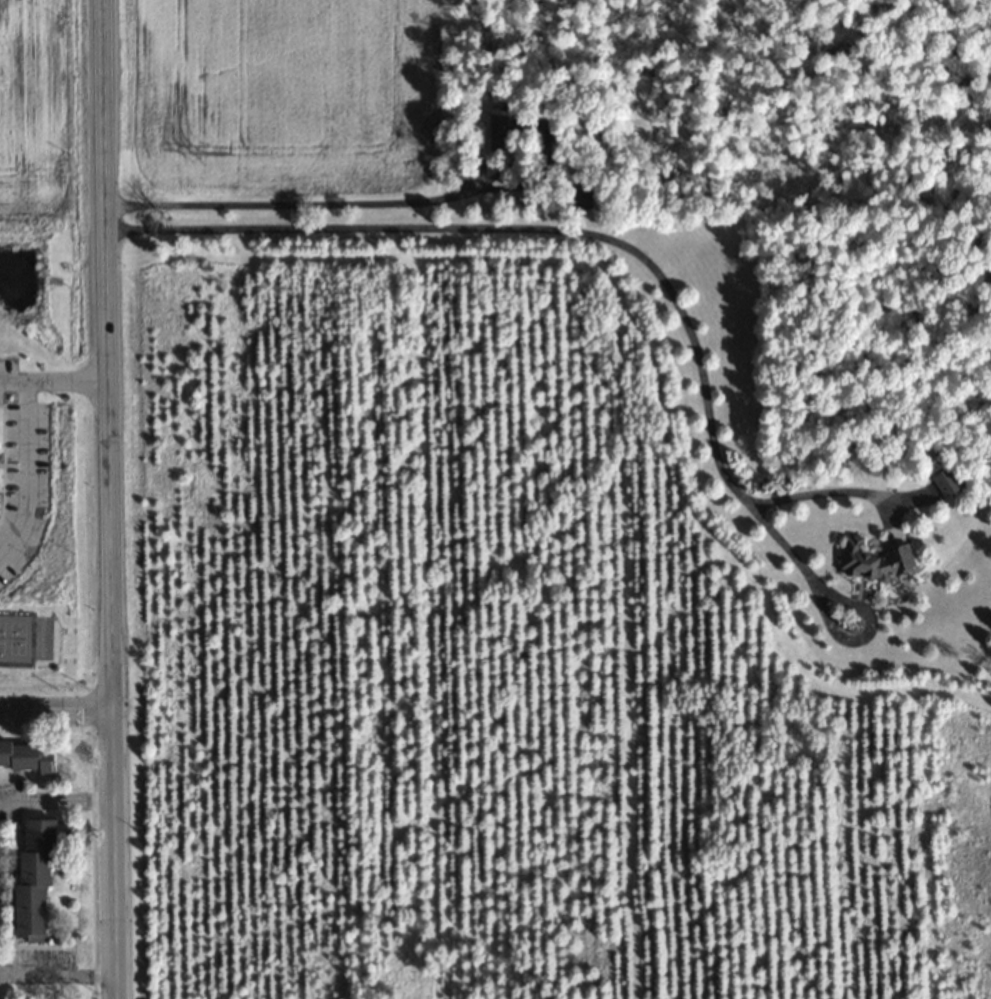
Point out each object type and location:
crop: (275, 105)
crop: (46, 106)
building: (508, 126)
building: (459, 168)
building: (578, 199)
road: (594, 234)
road: (108, 352)
road: (26, 431)
building: (870, 558)
road: (56, 706)
building: (2, 751)
building: (20, 755)
building: (46, 760)
road: (56, 795)
building: (35, 833)
road: (114, 852)
building: (31, 866)
building: (26, 909)
road: (58, 972)

